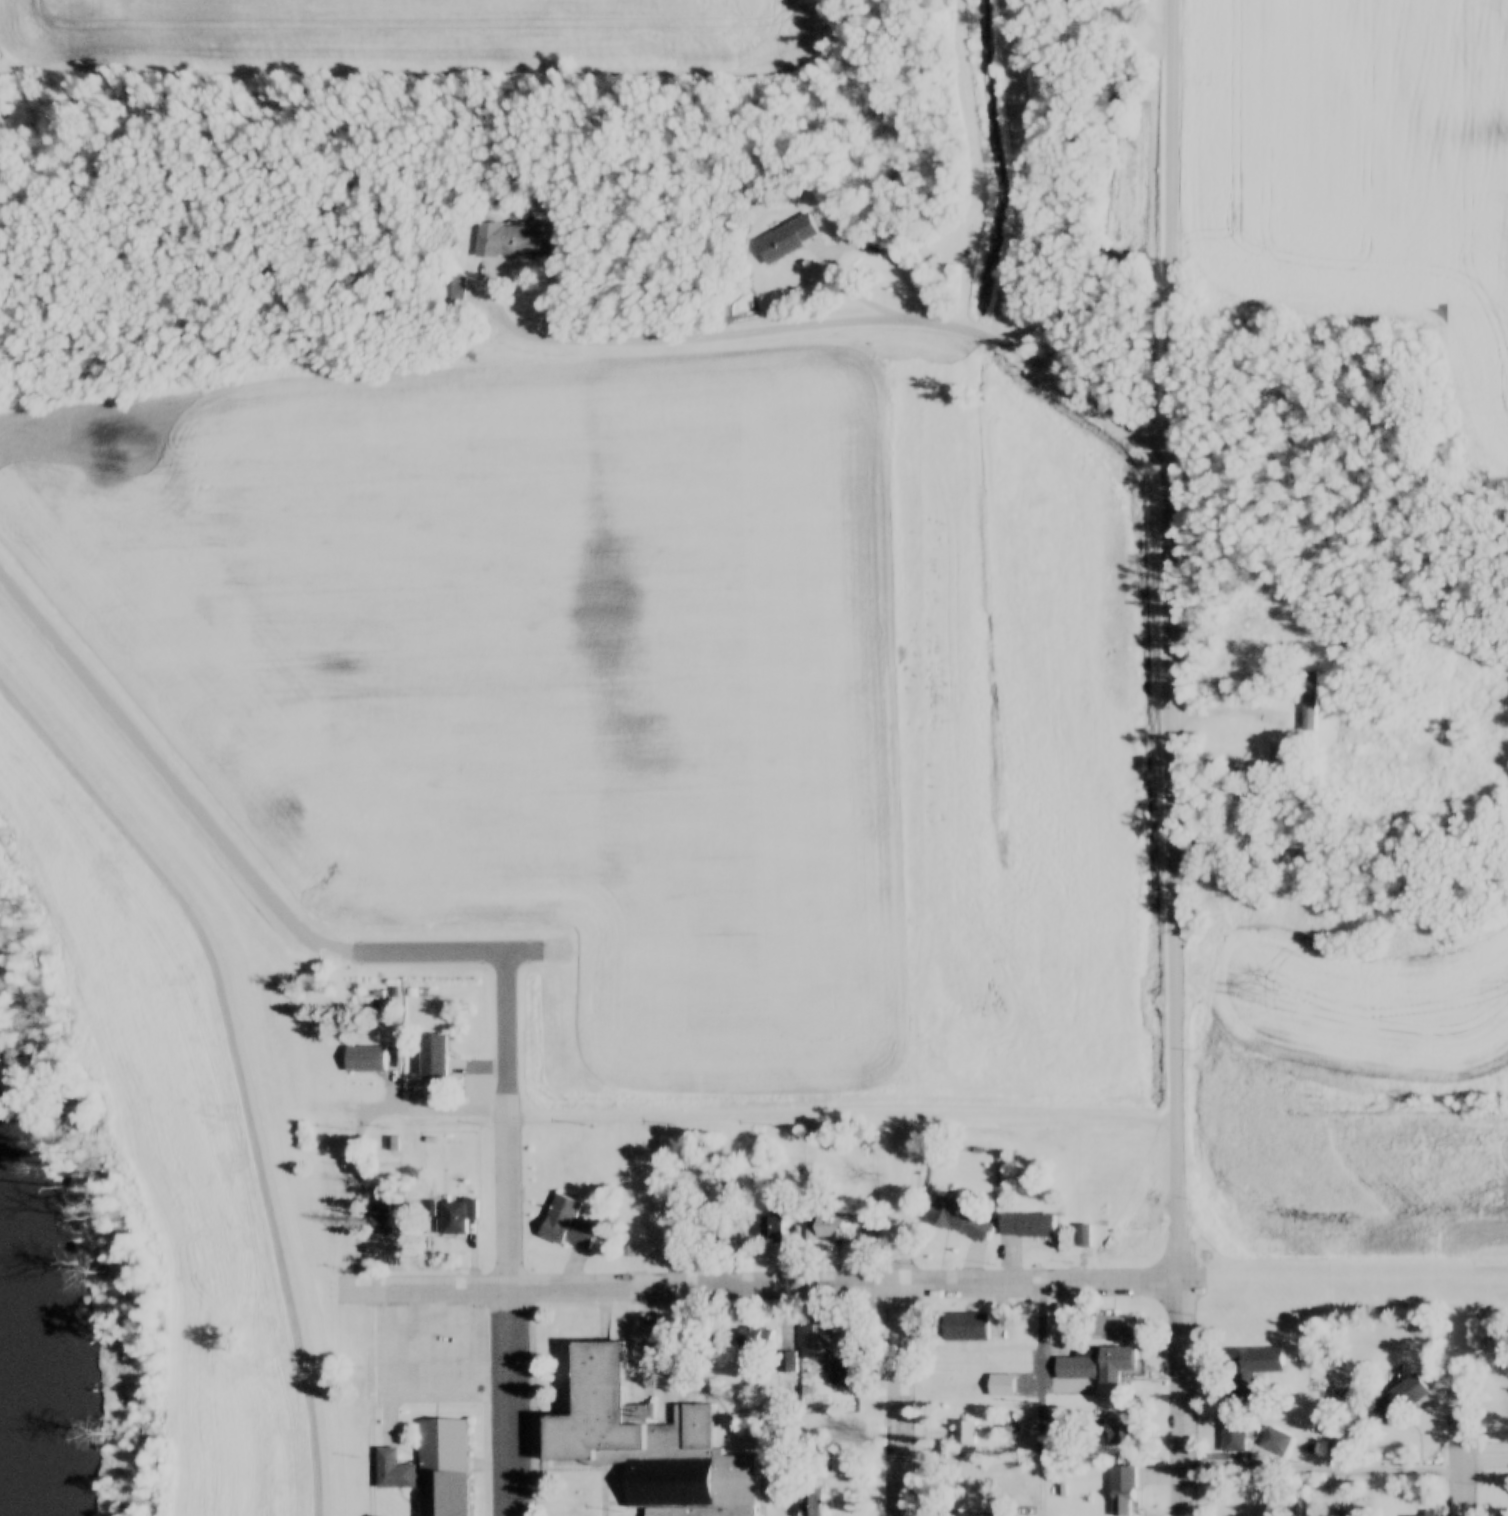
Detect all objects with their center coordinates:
building: (783, 239)
building: (510, 240)
road: (845, 243)
building: (448, 288)
road: (823, 320)
road: (1170, 640)
building: (1245, 659)
building: (1308, 701)
building: (1279, 755)
road: (171, 797)
road: (463, 966)
building: (431, 1055)
building: (315, 1058)
building: (365, 1058)
road: (427, 1107)
building: (393, 1144)
building: (240, 1155)
building: (322, 1162)
building: (456, 1217)
building: (380, 1220)
building: (957, 1220)
building: (290, 1224)
building: (566, 1225)
building: (832, 1227)
building: (1026, 1227)
building: (772, 1228)
building: (238, 1234)
road: (507, 1240)
building: (328, 1241)
road: (843, 1284)
road: (422, 1289)
building: (257, 1325)
building: (1112, 1326)
building: (344, 1337)
building: (755, 1338)
building: (814, 1342)
parking lot: (439, 1345)
building: (1018, 1359)
building: (1096, 1365)
building: (1252, 1370)
building: (842, 1375)
building: (1000, 1386)
building: (944, 1387)
road: (1180, 1397)
road: (1043, 1399)
road: (897, 1400)
building: (1399, 1400)
road: (370, 1403)
building: (260, 1410)
building: (1014, 1427)
building: (966, 1433)
building: (1117, 1433)
building: (1233, 1437)
building: (1275, 1442)
building: (645, 1445)
road: (1462, 1456)
building: (442, 1468)
road: (1344, 1470)
building: (393, 1473)
building: (257, 1489)
building: (1123, 1502)
building: (810, 1506)
building: (1345, 1513)
building: (962, 1514)
building: (1420, 1515)

